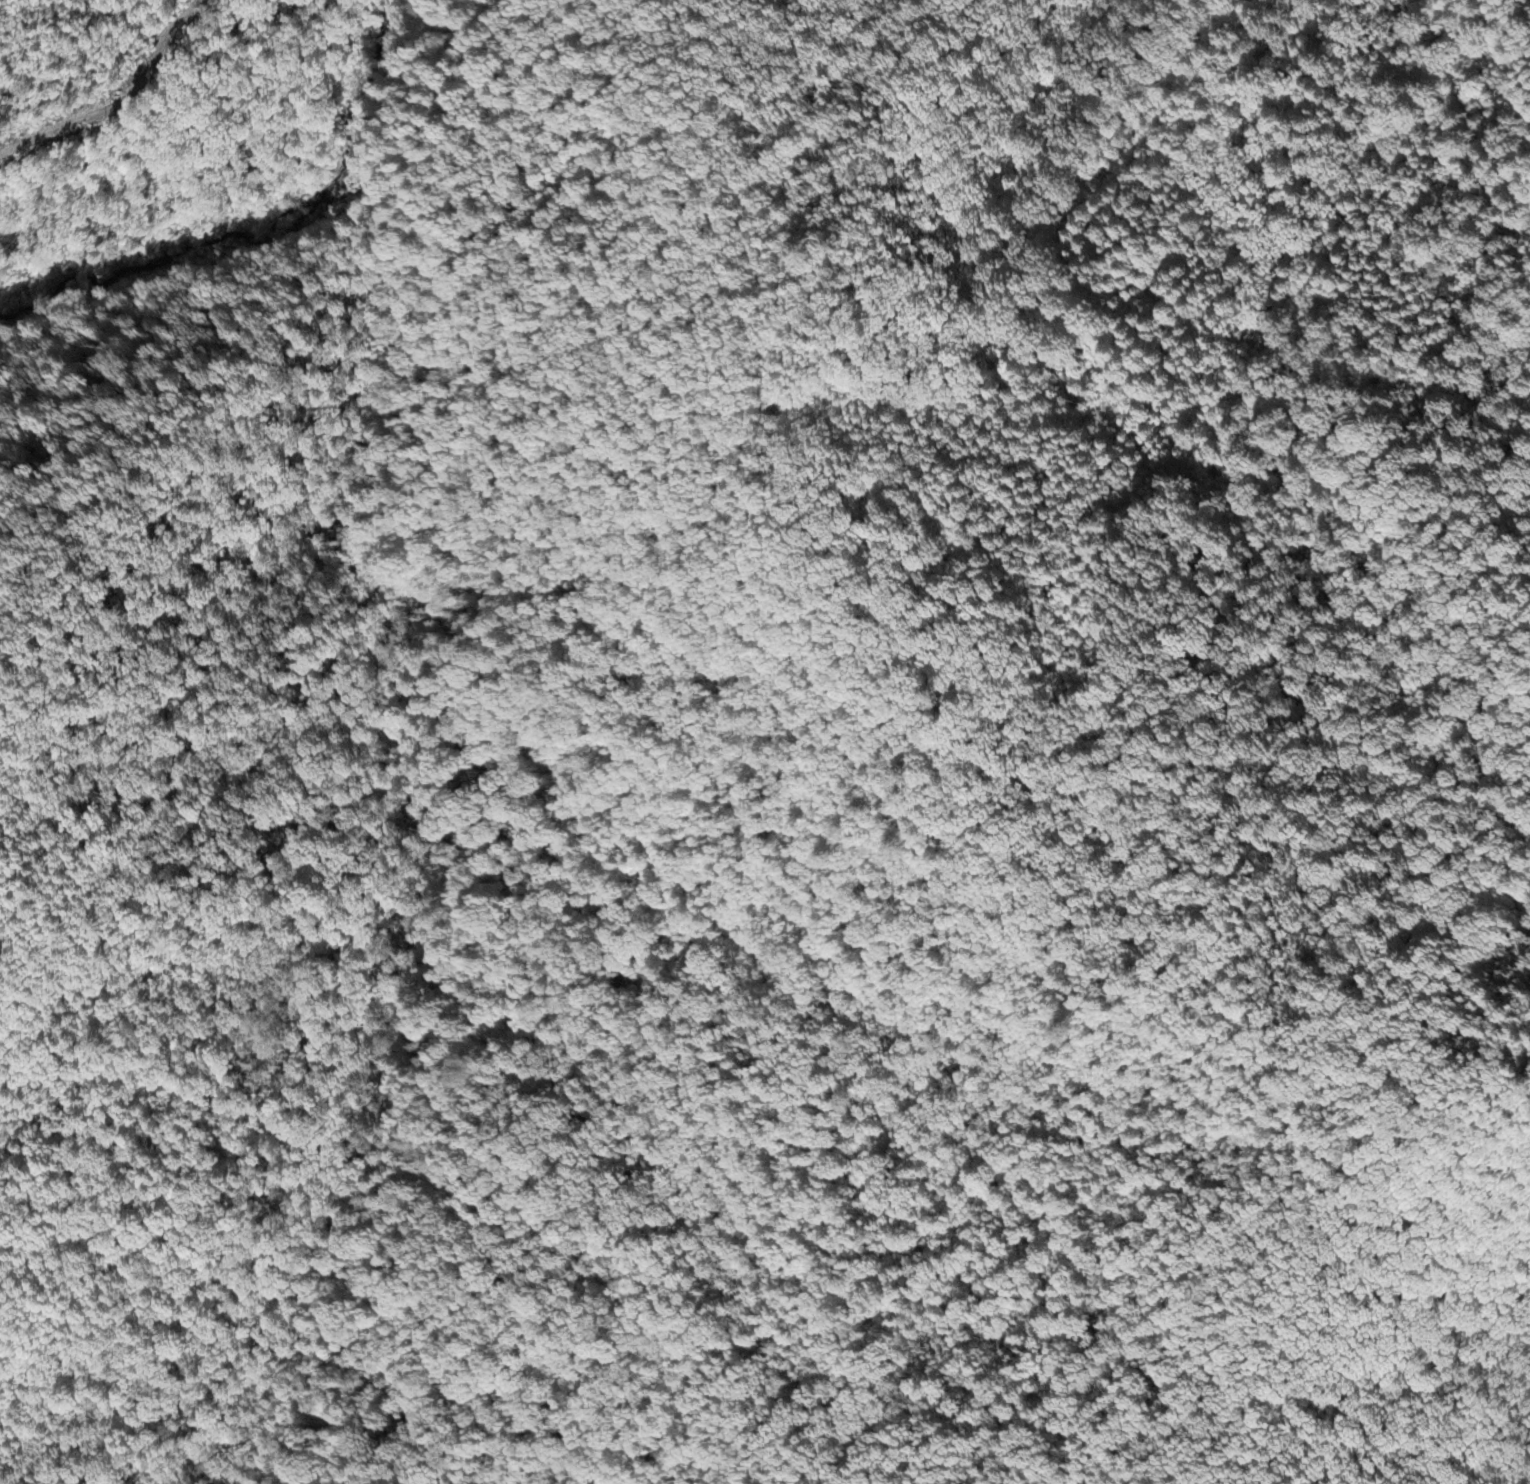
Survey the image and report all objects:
road: (119, 106)

